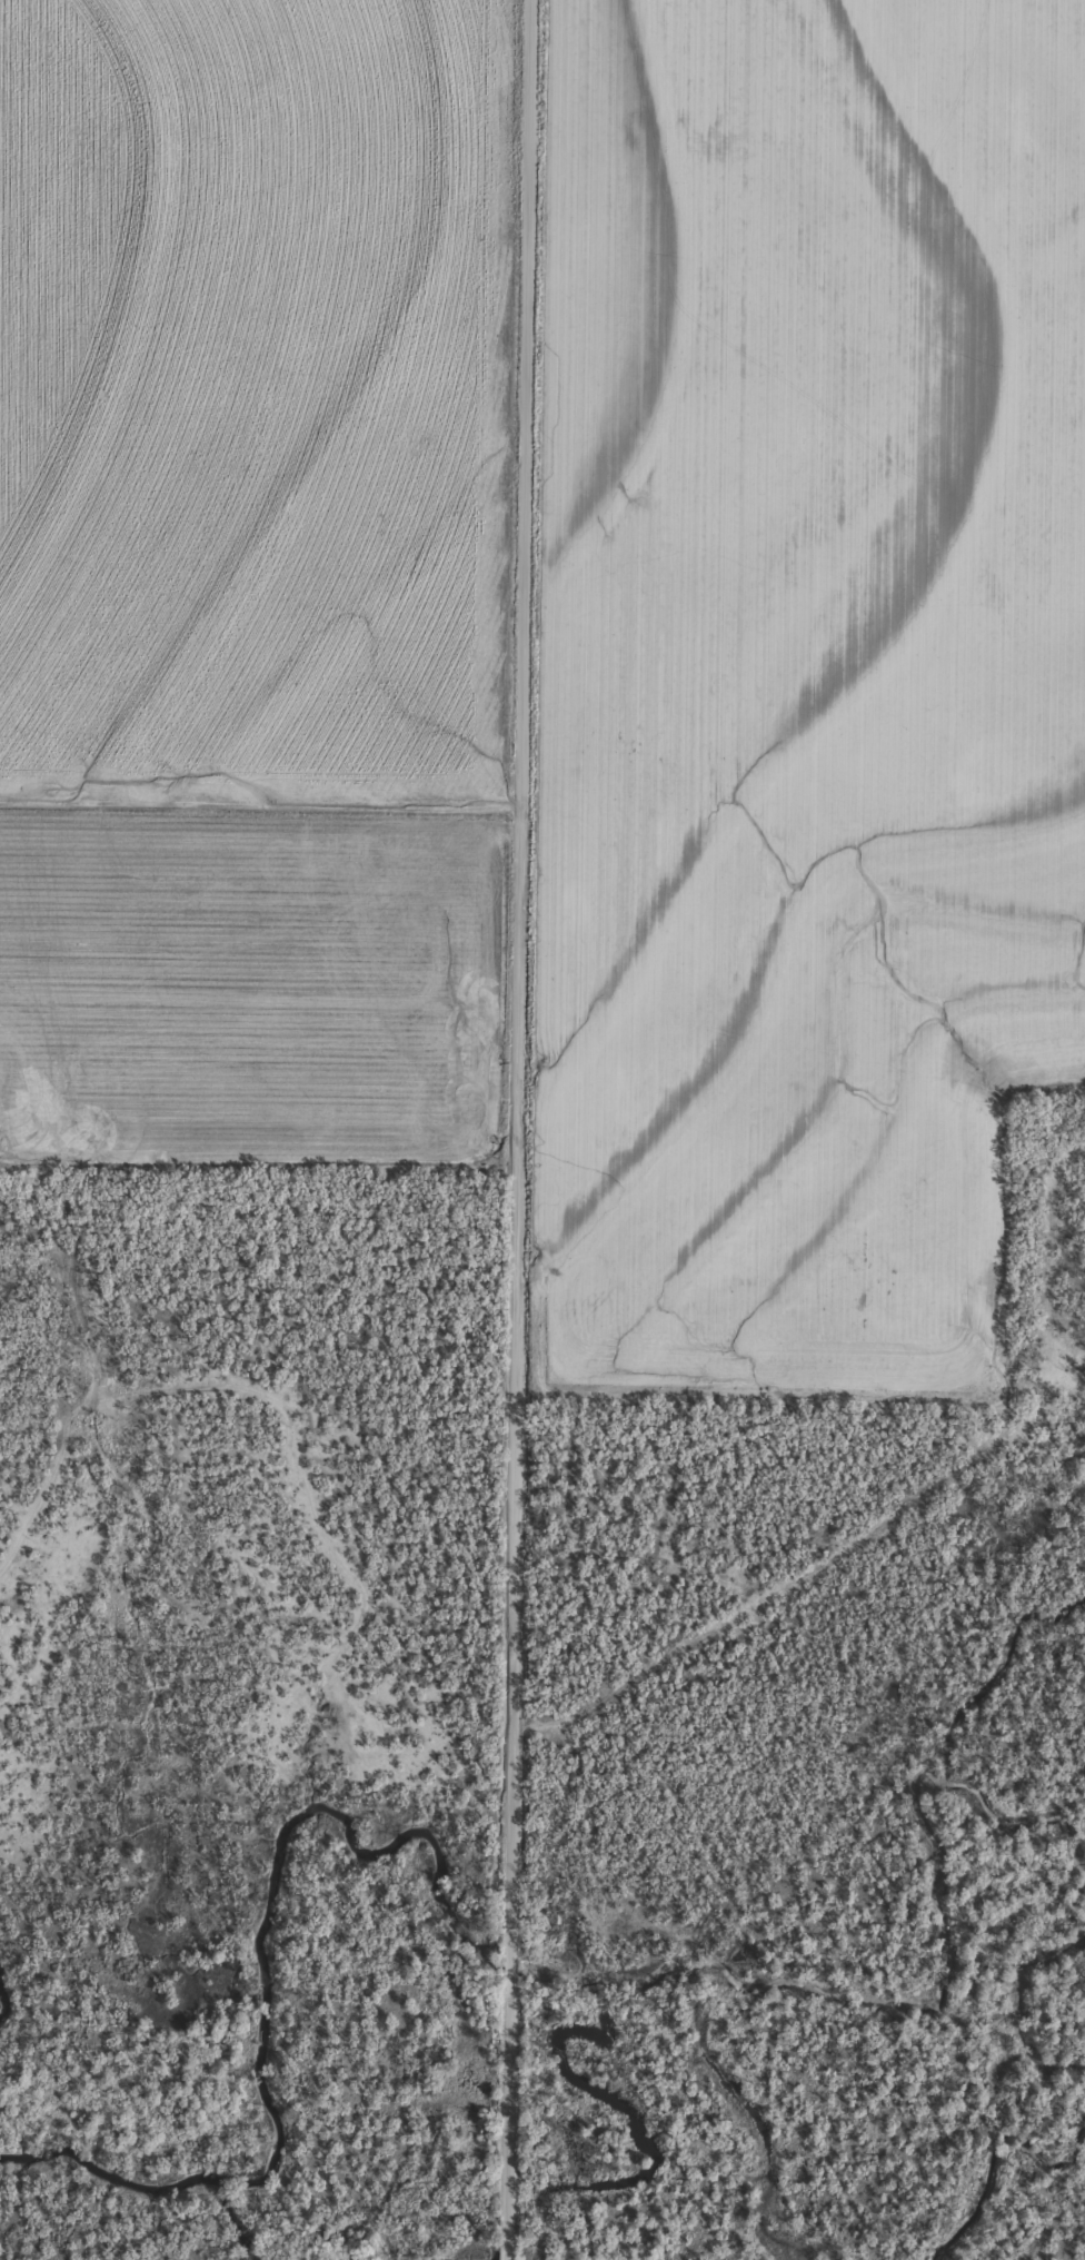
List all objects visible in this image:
road: (491, 1130)

